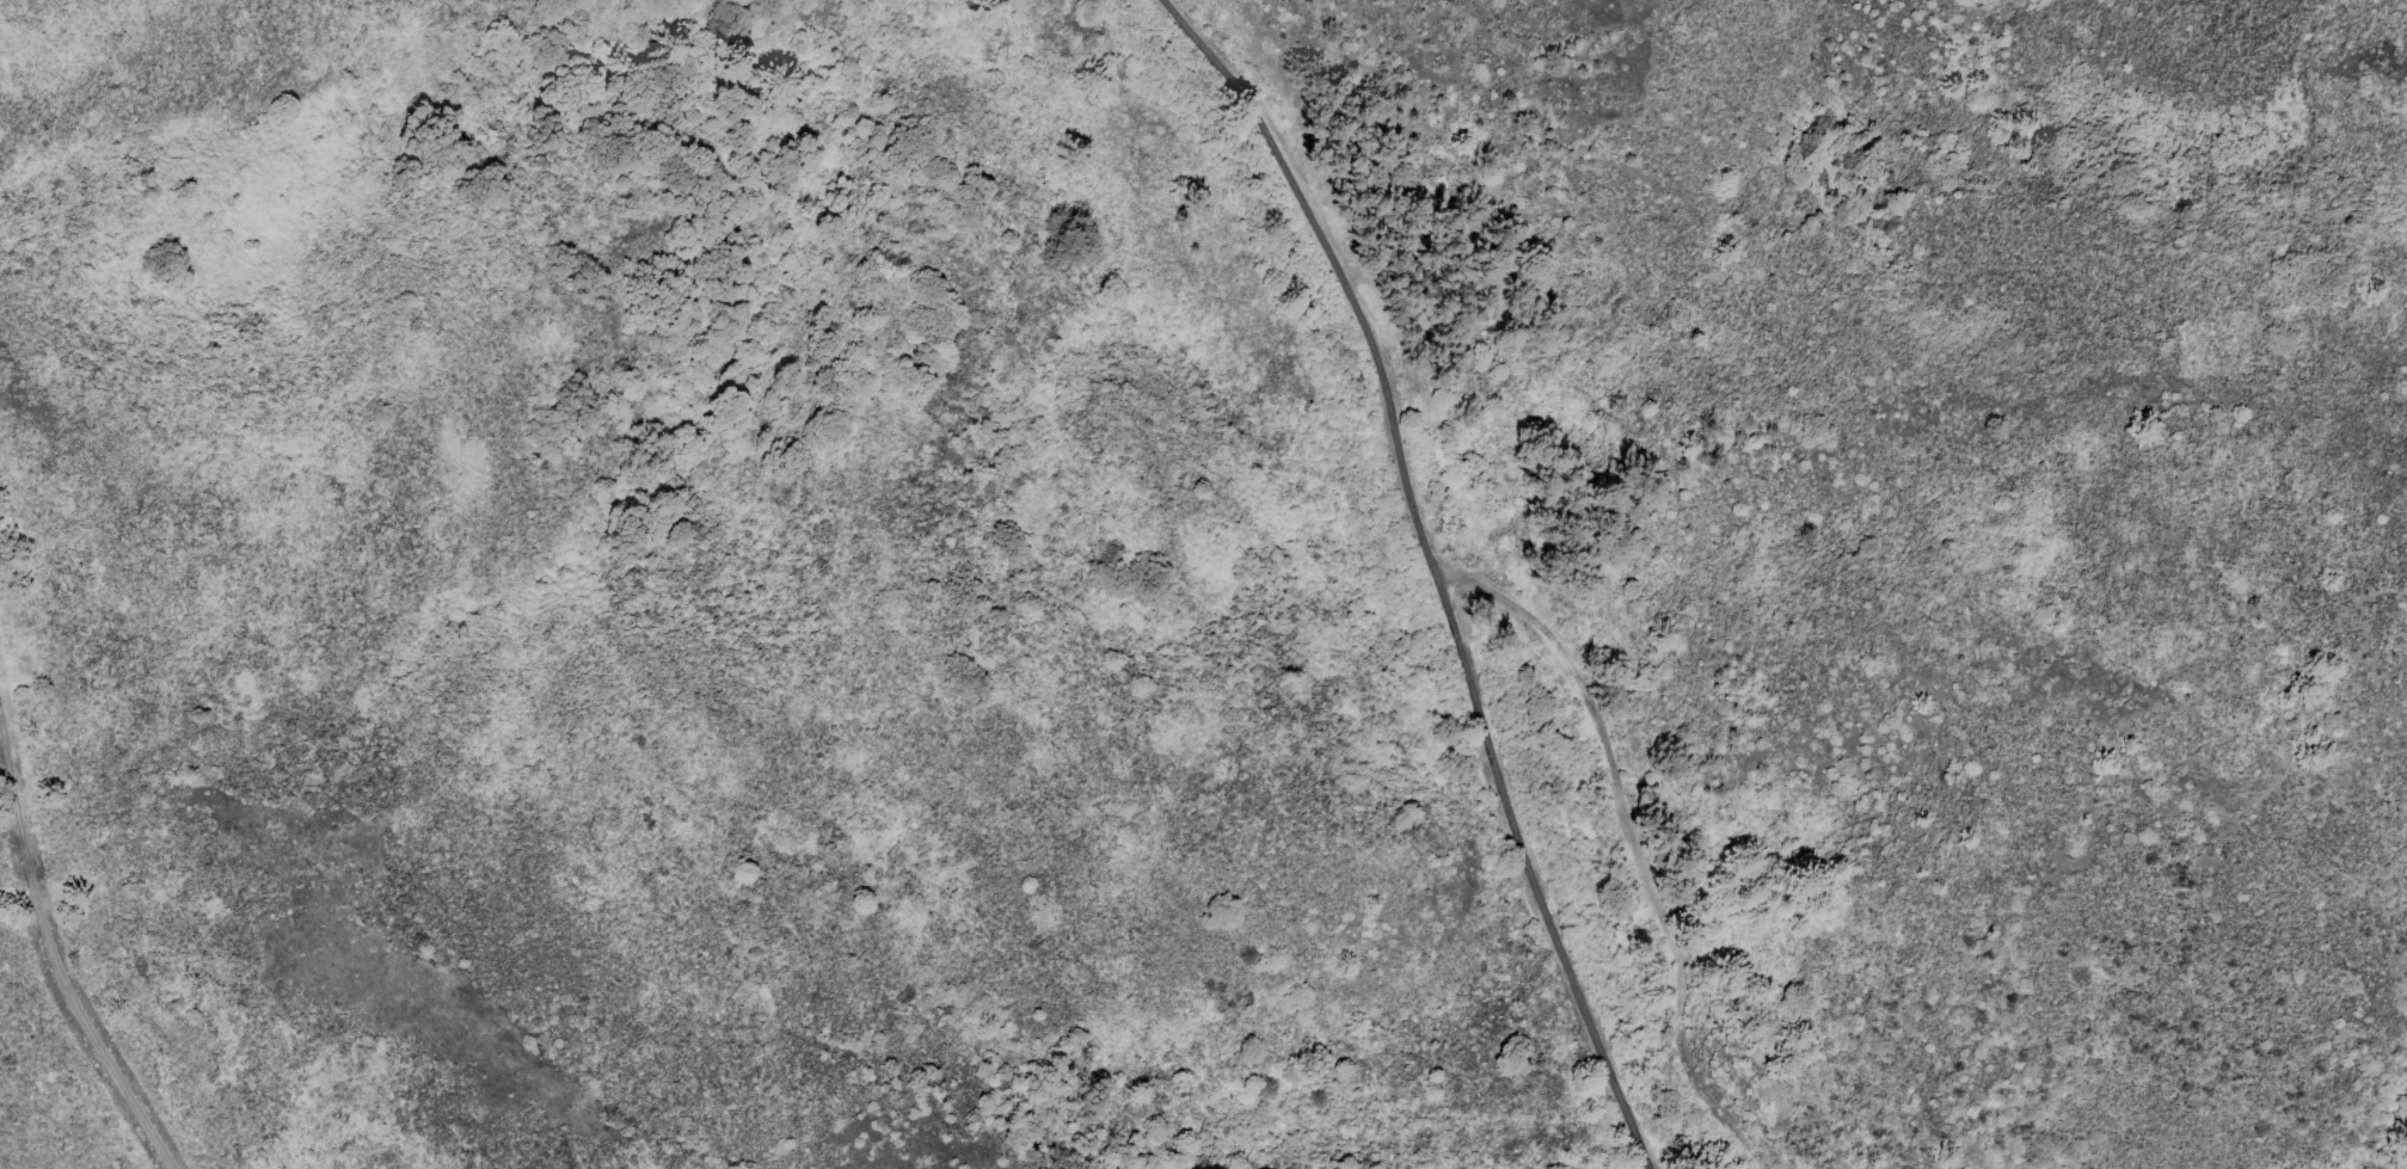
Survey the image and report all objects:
road: (1442, 572)
road: (53, 955)

